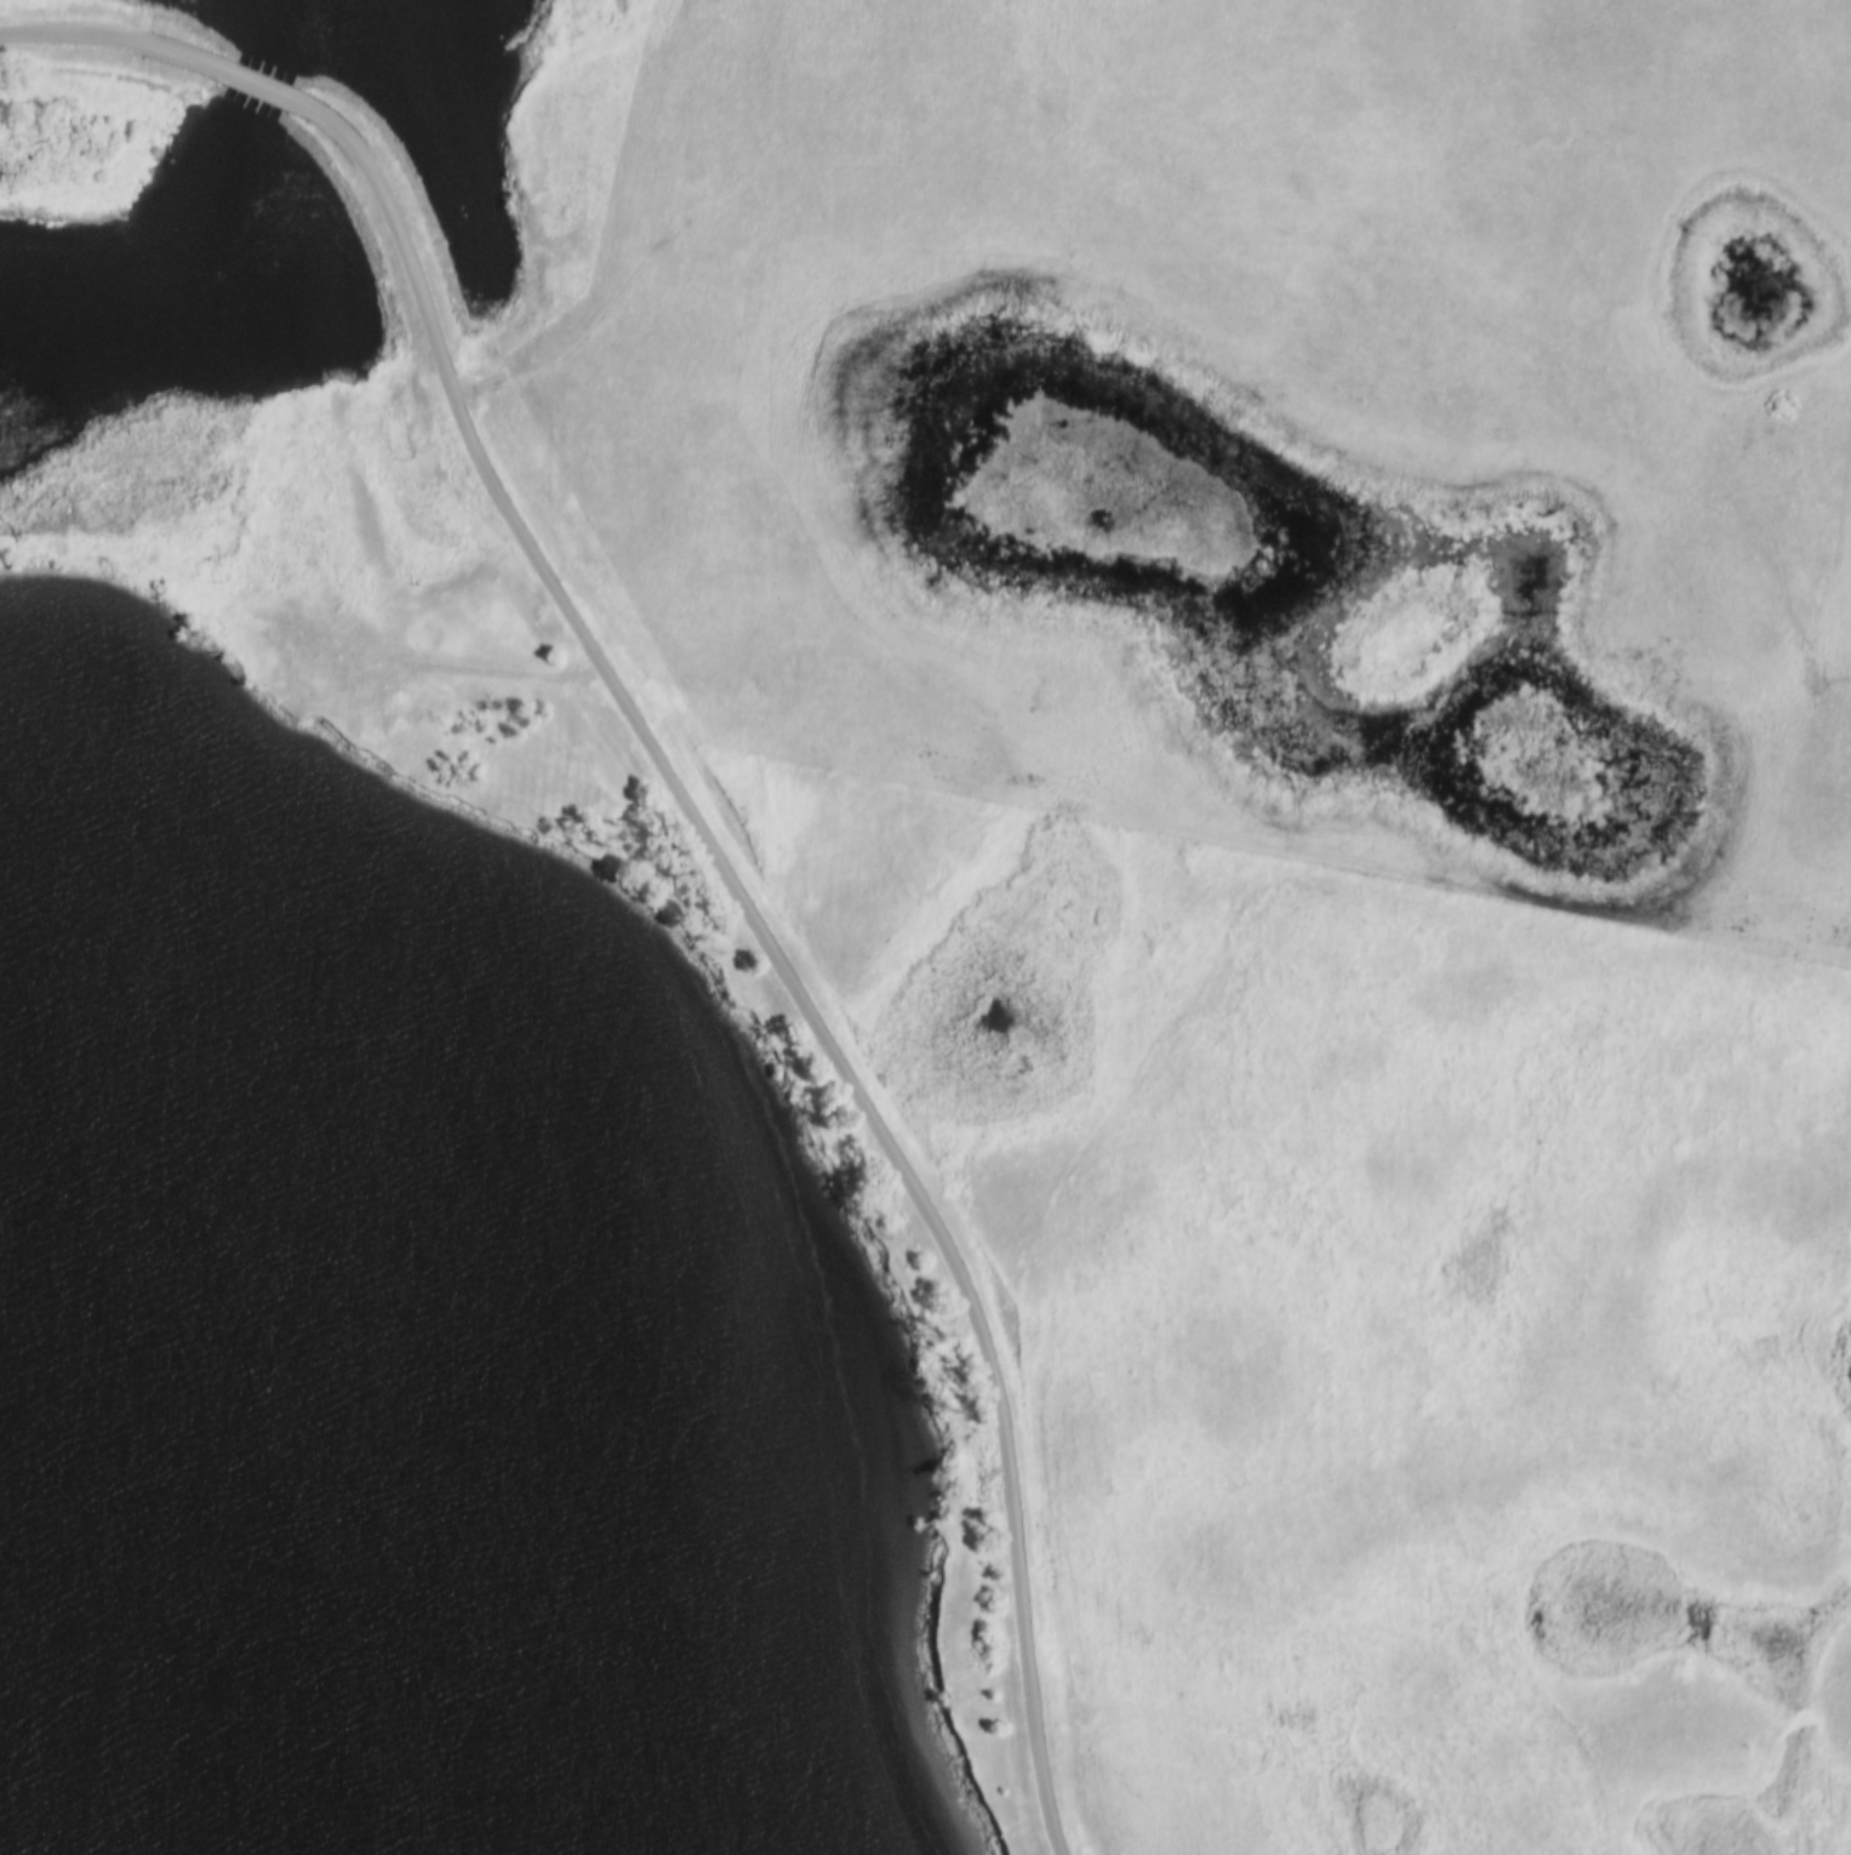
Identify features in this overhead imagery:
road: (116, 47)
road: (257, 95)
river: (200, 211)
road: (767, 938)
river: (87, 1160)
river: (76, 1393)

